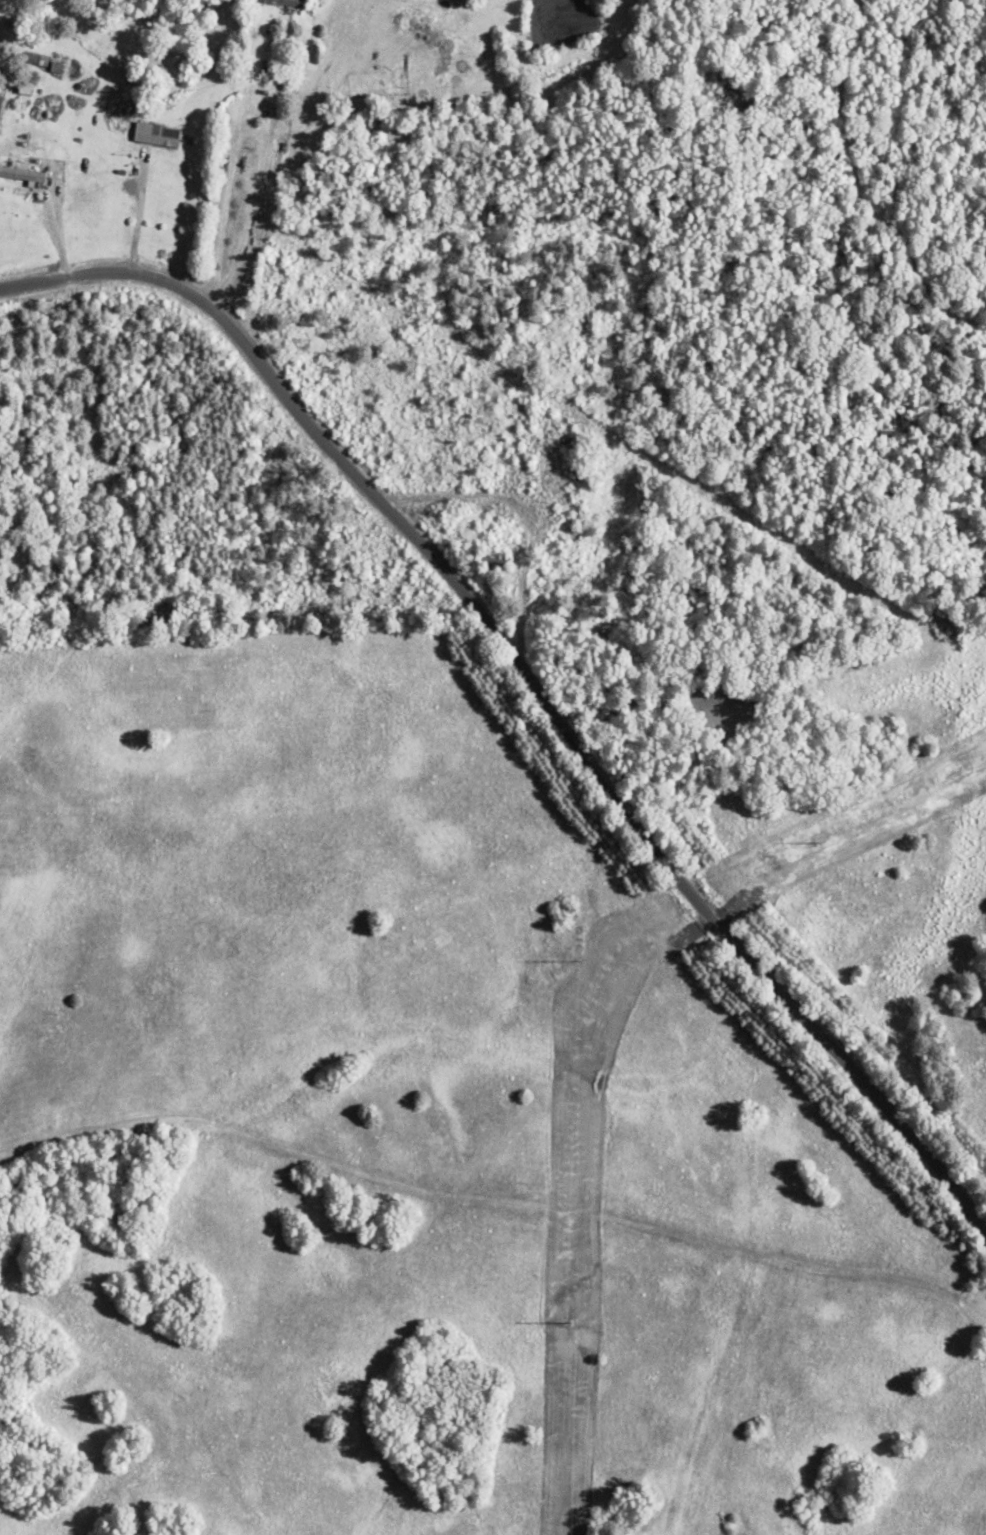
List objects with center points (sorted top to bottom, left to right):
building: (283, 1)
building: (154, 134)
building: (21, 174)
road: (650, 231)
building: (492, 560)
road: (509, 727)

